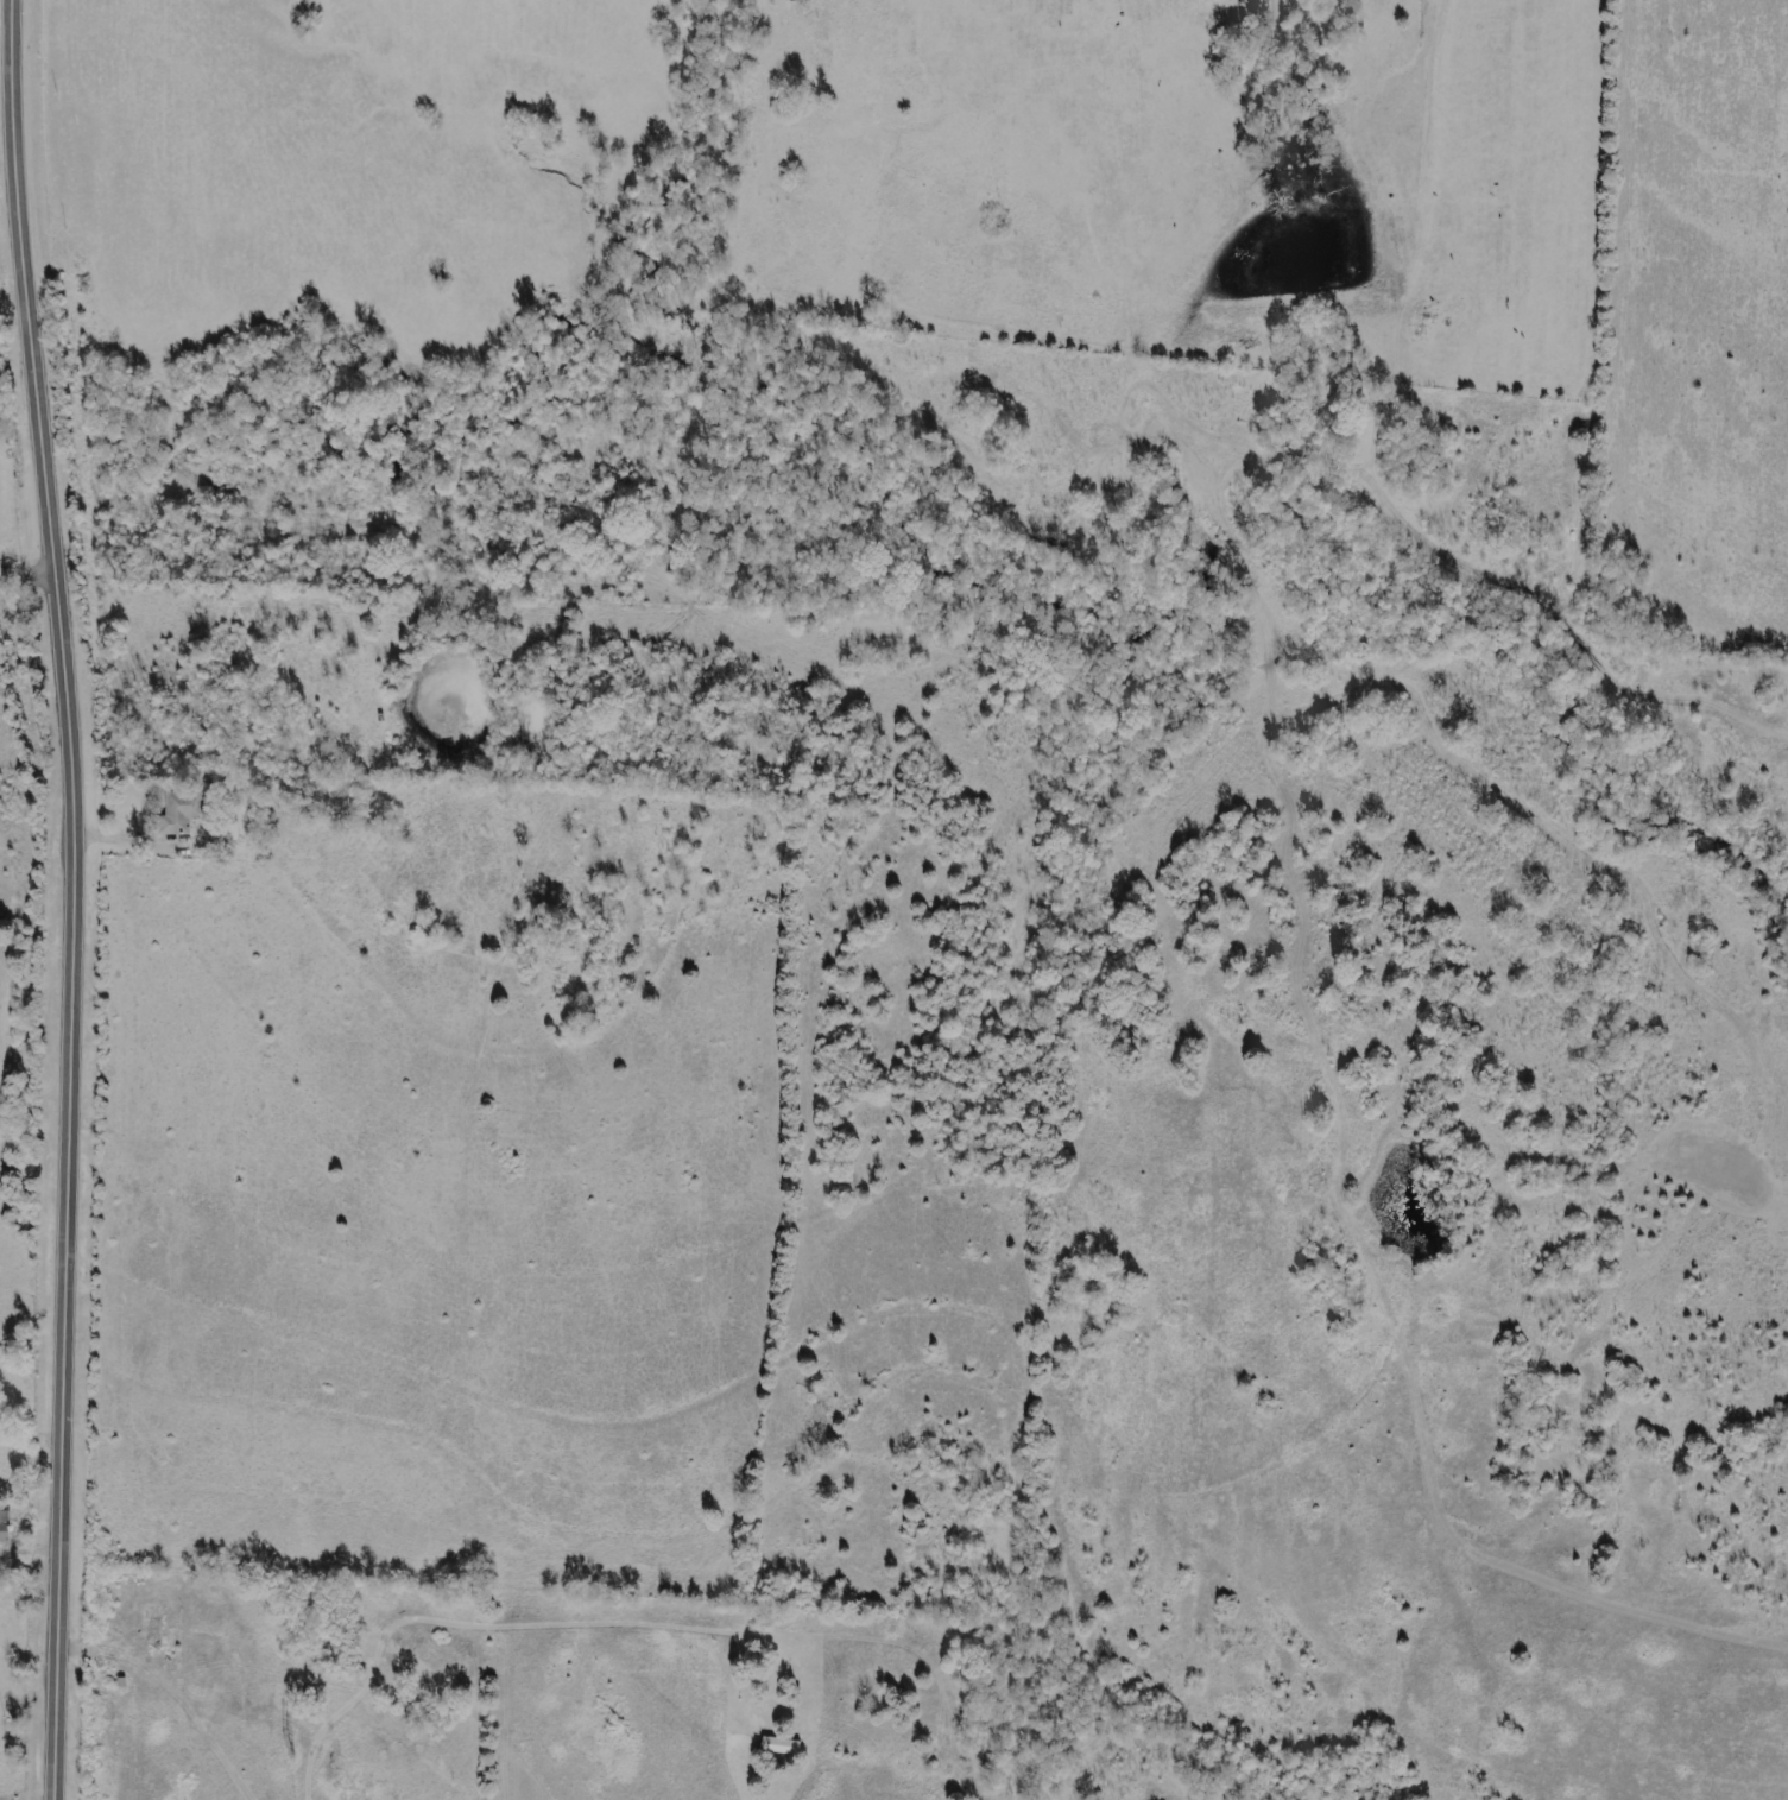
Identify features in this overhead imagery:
road: (26, 558)
building: (184, 810)
road: (70, 898)
building: (783, 1747)

